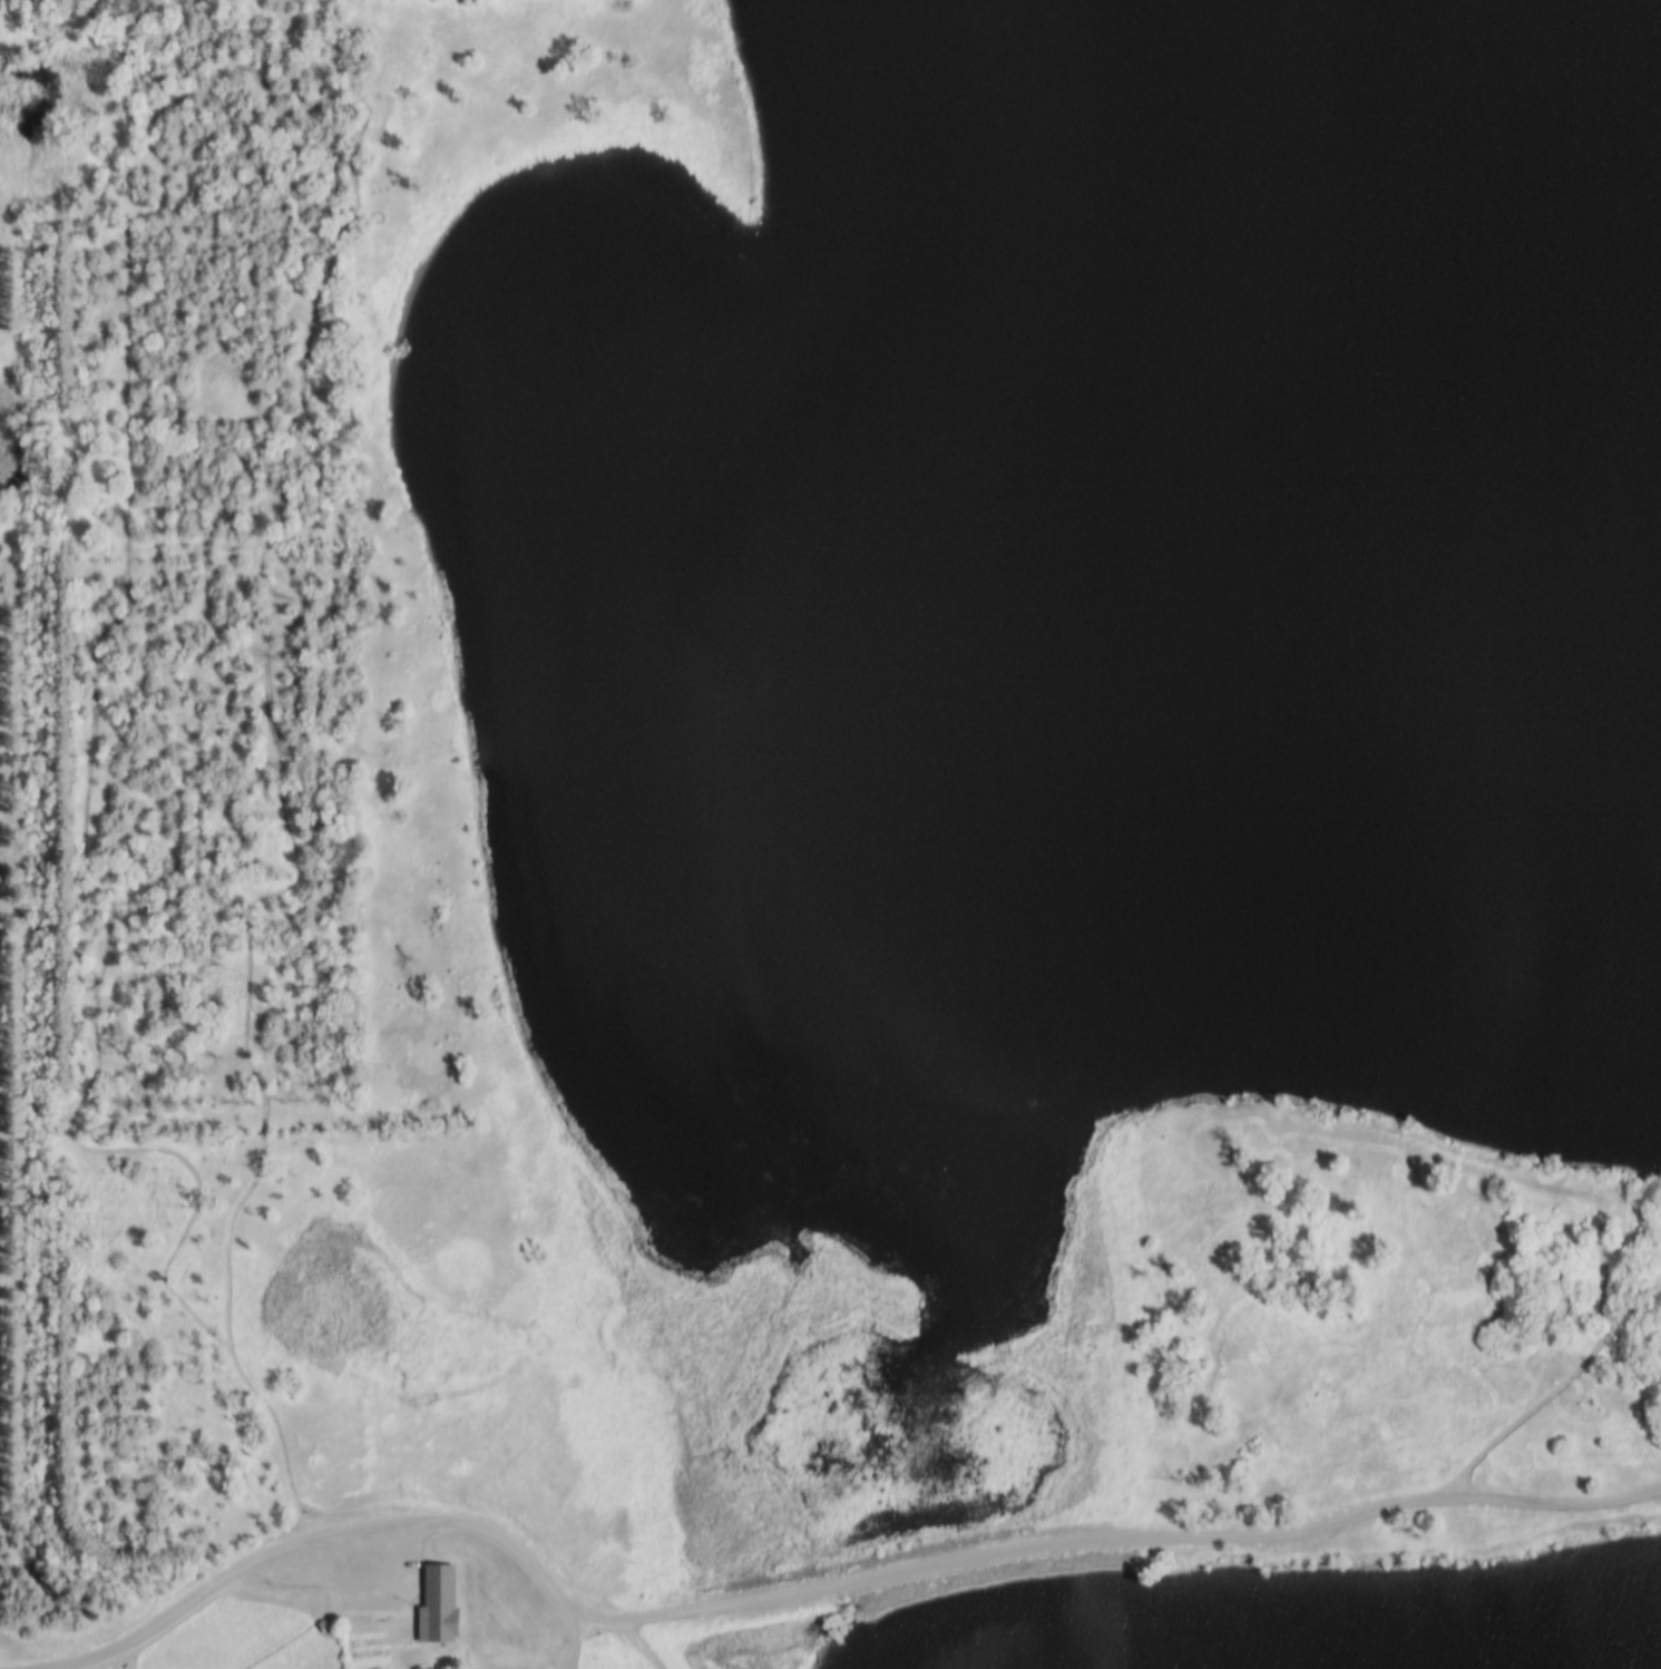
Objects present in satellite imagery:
road: (293, 98)
road: (1625, 1229)
road: (1604, 1315)
parking lot: (355, 1577)
road: (839, 1592)
building: (448, 1629)
road: (573, 1646)

